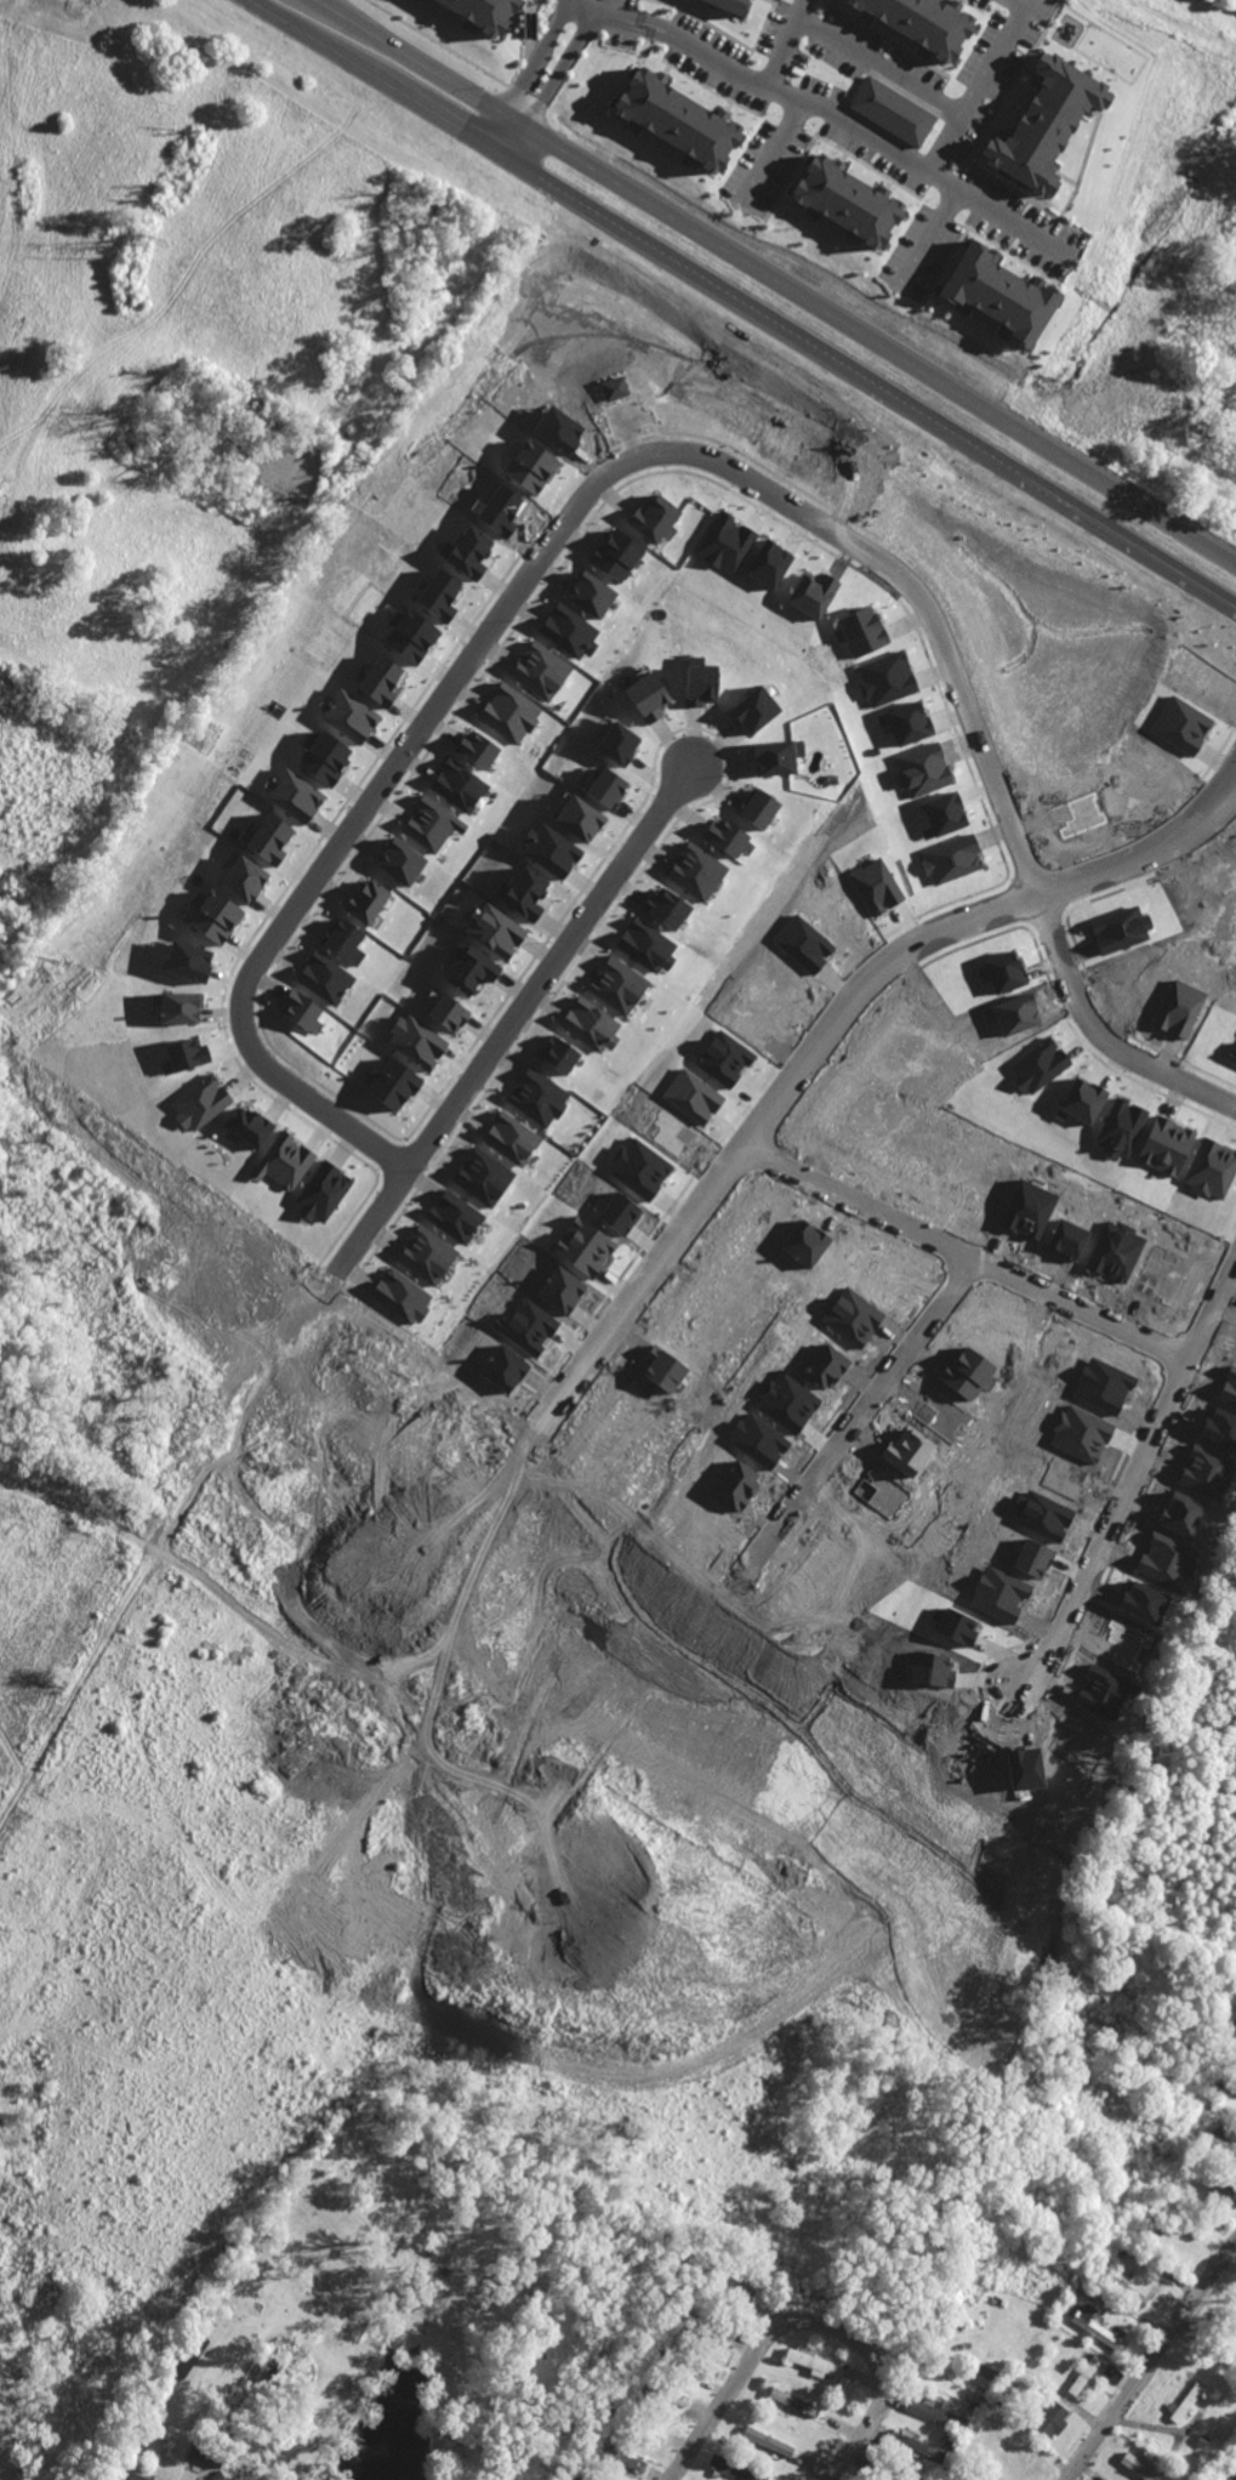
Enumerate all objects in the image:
building: (730, 5)
building: (482, 12)
road: (616, 16)
building: (921, 22)
road: (1187, 23)
road: (785, 40)
road: (712, 53)
road: (546, 57)
road: (881, 58)
road: (417, 103)
building: (892, 112)
building: (677, 119)
building: (1044, 124)
road: (776, 146)
road: (933, 161)
building: (845, 200)
road: (996, 204)
road: (934, 222)
road: (775, 280)
building: (997, 294)
road: (910, 403)
road: (656, 454)
building: (530, 467)
building: (655, 519)
building: (725, 542)
building: (467, 551)
building: (616, 554)
building: (768, 564)
building: (591, 593)
building: (813, 593)
building: (438, 595)
building: (569, 631)
building: (409, 636)
building: (541, 671)
building: (381, 681)
building: (699, 682)
building: (648, 696)
building: (753, 710)
building: (511, 712)
building: (349, 716)
building: (907, 723)
building: (617, 743)
building: (478, 749)
building: (324, 757)
building: (775, 757)
building: (460, 785)
building: (606, 787)
building: (295, 796)
building: (758, 808)
building: (944, 813)
building: (579, 818)
building: (432, 824)
building: (267, 838)
building: (728, 838)
building: (549, 851)
building: (401, 861)
building: (696, 871)
building: (243, 878)
building: (876, 886)
building: (524, 892)
building: (368, 900)
building: (665, 908)
building: (213, 915)
building: (1121, 929)
building: (496, 931)
building: (344, 940)
building: (647, 945)
building: (187, 961)
building: (469, 969)
building: (324, 978)
building: (617, 985)
building: (178, 1007)
road: (514, 1009)
building: (302, 1011)
building: (448, 1013)
building: (591, 1025)
road: (831, 1025)
building: (416, 1042)
building: (558, 1054)
building: (184, 1056)
building: (723, 1058)
building: (1040, 1065)
building: (391, 1083)
building: (693, 1096)
building: (537, 1097)
building: (1083, 1100)
building: (200, 1102)
building: (249, 1126)
building: (1122, 1126)
building: (511, 1138)
building: (1168, 1147)
building: (284, 1161)
building: (1211, 1168)
building: (483, 1177)
road: (2, 1190)
building: (323, 1193)
building: (455, 1216)
building: (426, 1255)
road: (964, 1258)
building: (401, 1296)
road: (234, 1354)
road: (858, 1414)
road: (211, 1450)
road: (1130, 1479)
road: (320, 1729)
road: (580, 1780)
road: (569, 2060)
road: (733, 2070)
building: (1217, 2141)
road: (807, 2322)
building: (1097, 2327)
building: (189, 2355)
road: (1151, 2360)
building: (813, 2362)
building: (1111, 2373)
building: (1084, 2374)
building: (1186, 2401)
building: (936, 2414)
building: (1050, 2419)
building: (768, 2441)
building: (915, 2446)
building: (619, 2459)
building: (735, 2468)
building: (1141, 2468)
road: (190, 2475)
building: (135, 2478)

